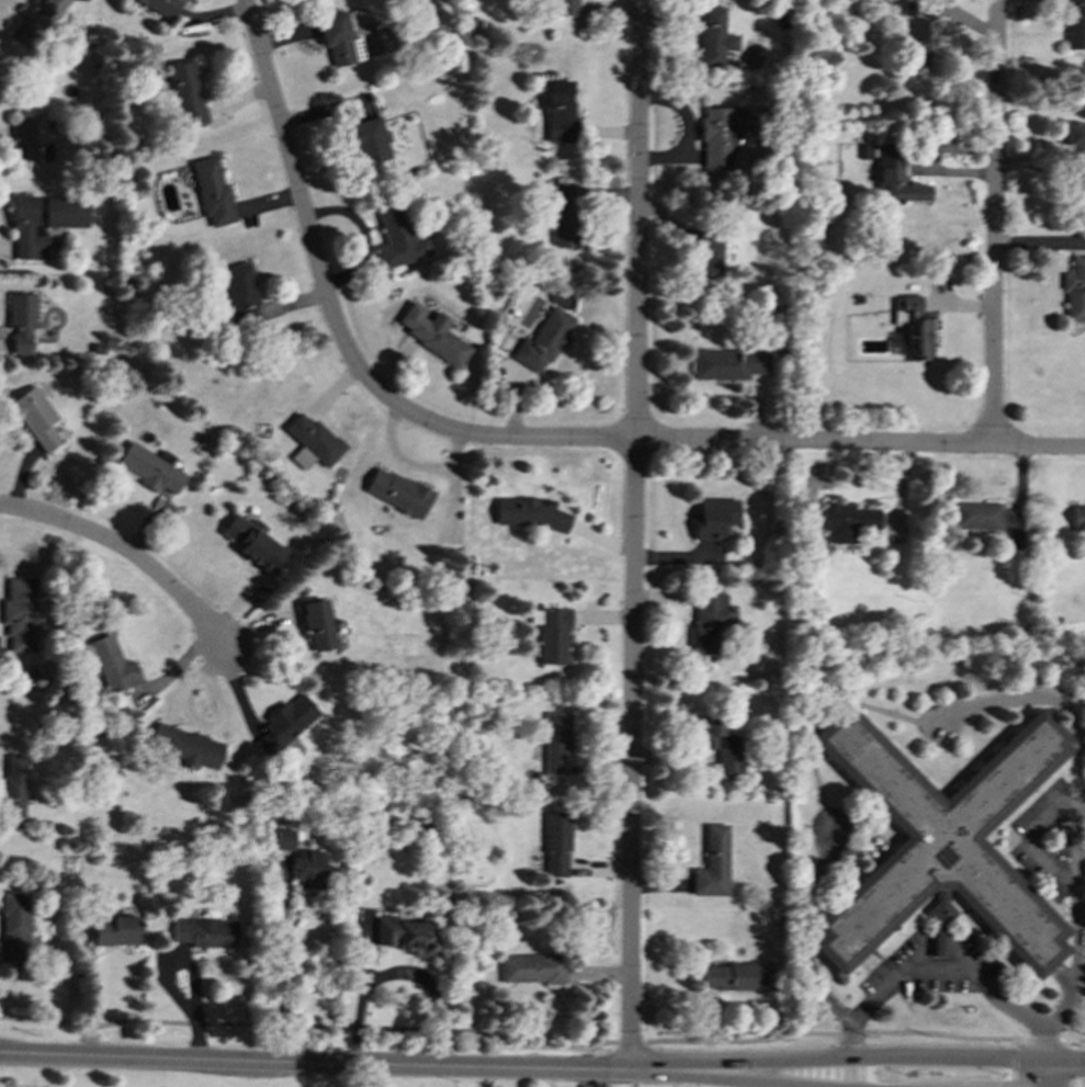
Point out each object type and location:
building: (162, 7)
building: (566, 7)
building: (36, 22)
building: (1075, 24)
building: (714, 36)
building: (339, 41)
building: (918, 43)
building: (185, 93)
building: (561, 111)
building: (725, 132)
building: (34, 139)
building: (368, 140)
building: (1075, 144)
building: (896, 175)
building: (211, 190)
building: (562, 215)
building: (42, 223)
road: (994, 223)
building: (398, 237)
building: (709, 253)
building: (239, 290)
building: (1075, 290)
building: (20, 321)
building: (913, 326)
road: (337, 330)
building: (431, 332)
building: (544, 340)
building: (730, 363)
building: (35, 417)
building: (314, 439)
road: (861, 443)
building: (150, 469)
building: (397, 491)
building: (530, 512)
building: (975, 514)
building: (1078, 517)
building: (714, 518)
building: (847, 521)
road: (635, 536)
building: (251, 542)
road: (126, 553)
building: (20, 613)
building: (711, 619)
building: (316, 624)
building: (552, 634)
building: (112, 664)
building: (284, 724)
road: (1070, 737)
building: (556, 741)
building: (717, 741)
building: (184, 745)
building: (12, 792)
building: (284, 839)
building: (557, 845)
building: (940, 845)
building: (712, 863)
building: (310, 869)
road: (1080, 916)
building: (14, 929)
building: (115, 930)
building: (204, 932)
building: (405, 935)
road: (945, 961)
building: (532, 969)
road: (280, 970)
road: (407, 972)
building: (737, 976)
road: (1062, 982)
road: (97, 1000)
road: (838, 1007)
road: (308, 1026)
road: (835, 1033)
road: (1044, 1040)
road: (1074, 1040)
road: (631, 1041)
road: (870, 1058)
road: (1013, 1063)
road: (1073, 1063)
road: (314, 1064)
road: (643, 1073)
road: (1043, 1075)
road: (764, 1076)
road: (720, 1079)
road: (764, 1086)

